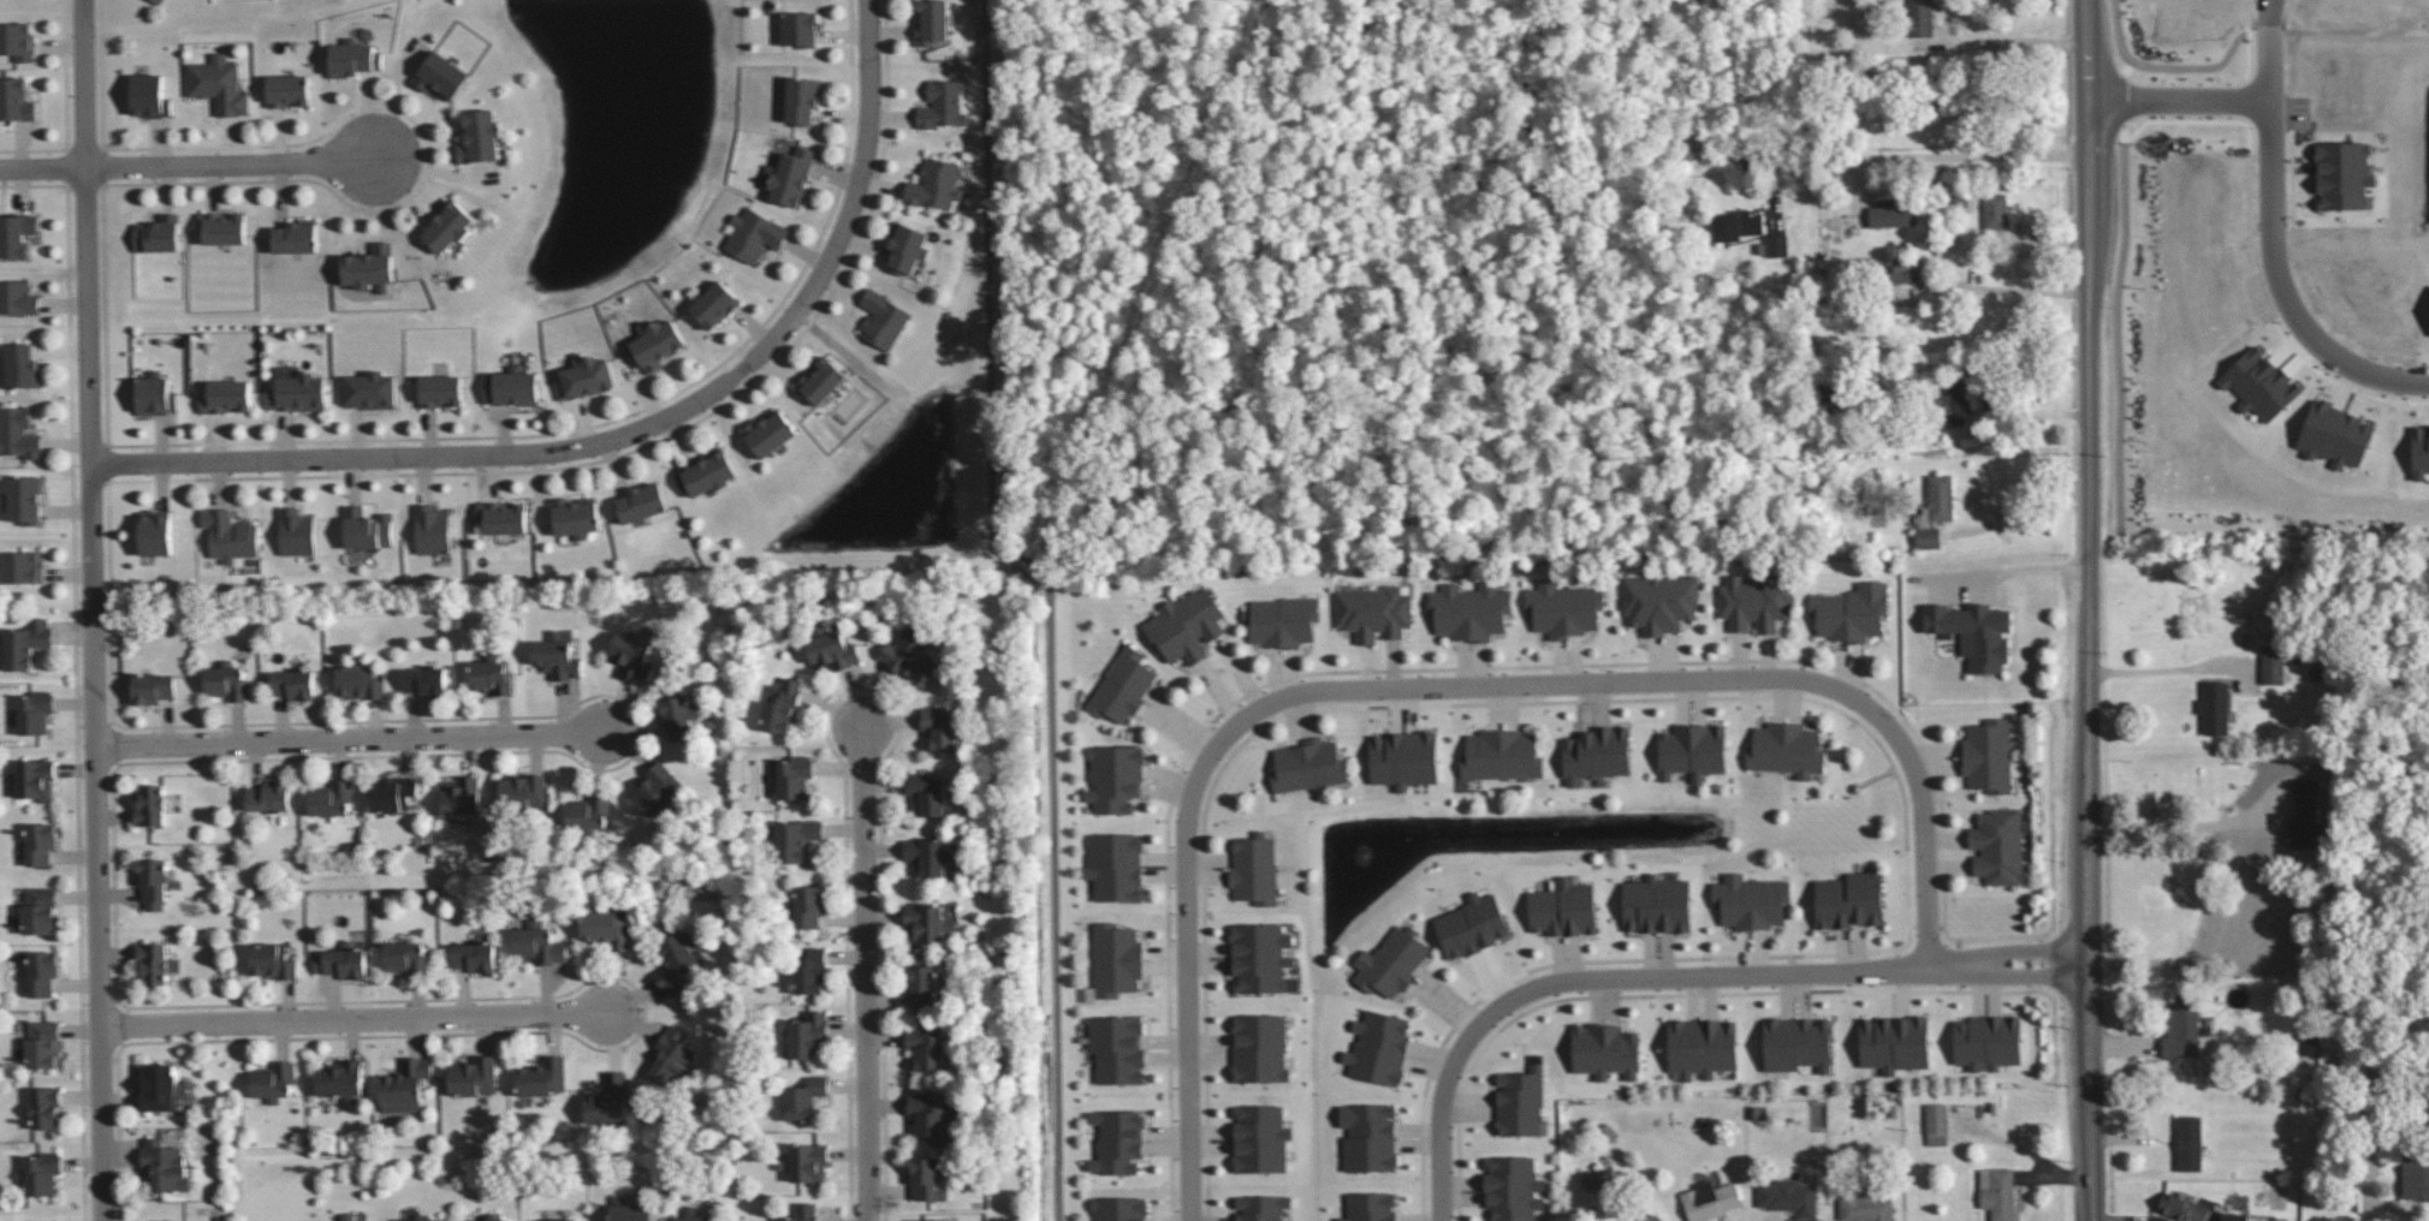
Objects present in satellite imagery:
building: (159, 1)
building: (1922, 18)
building: (932, 22)
building: (800, 29)
road: (2240, 34)
building: (17, 40)
road: (2018, 40)
road: (2083, 50)
road: (2269, 50)
building: (352, 58)
building: (440, 75)
building: (219, 84)
building: (287, 90)
building: (148, 95)
building: (16, 99)
building: (802, 100)
road: (2176, 102)
building: (942, 105)
road: (2084, 127)
building: (480, 136)
road: (1936, 154)
road: (204, 167)
road: (1076, 168)
building: (2344, 174)
building: (790, 175)
road: (2085, 180)
building: (938, 184)
road: (1170, 189)
building: (1995, 210)
building: (1893, 213)
building: (1736, 225)
building: (447, 226)
building: (222, 227)
road: (1362, 232)
building: (16, 233)
building: (158, 234)
building: (754, 234)
building: (295, 237)
building: (1776, 244)
building: (908, 248)
building: (370, 267)
building: (1905, 269)
park: (1397, 278)
road: (2282, 286)
road: (2024, 288)
road: (2116, 292)
building: (17, 297)
building: (715, 304)
building: (883, 318)
building: (657, 343)
building: (22, 365)
building: (584, 376)
building: (821, 380)
building: (511, 386)
building: (370, 389)
building: (440, 391)
building: (299, 392)
building: (155, 393)
building: (226, 395)
building: (1953, 400)
building: (768, 431)
building: (18, 433)
building: (2335, 435)
road: (630, 436)
road: (2090, 441)
building: (2419, 452)
building: (707, 472)
road: (1117, 486)
building: (24, 499)
building: (641, 502)
building: (1935, 511)
building: (576, 516)
building: (503, 517)
building: (366, 528)
building: (432, 529)
building: (296, 531)
building: (155, 532)
building: (230, 535)
building: (20, 566)
road: (2015, 568)
road: (1051, 596)
building: (1659, 601)
building: (1756, 601)
building: (1563, 608)
road: (94, 609)
building: (1469, 610)
building: (1373, 612)
building: (1851, 612)
building: (1281, 620)
building: (1187, 625)
building: (1974, 632)
building: (25, 643)
building: (832, 650)
building: (557, 655)
building: (631, 655)
building: (910, 657)
building: (2273, 663)
road: (2156, 672)
building: (491, 674)
building: (226, 680)
building: (424, 680)
building: (358, 681)
building: (293, 684)
building: (1123, 685)
building: (153, 687)
road: (1437, 687)
building: (780, 705)
building: (2215, 708)
building: (35, 711)
building: (677, 716)
building: (940, 727)
road: (349, 740)
building: (1786, 749)
building: (1692, 751)
road: (2087, 751)
building: (1596, 754)
building: (1501, 755)
building: (1988, 756)
building: (1403, 758)
building: (1308, 766)
building: (792, 776)
building: (34, 778)
building: (1115, 779)
building: (657, 788)
building: (523, 792)
building: (393, 793)
building: (928, 793)
building: (269, 796)
building: (332, 797)
building: (459, 798)
building: (150, 804)
building: (588, 811)
building: (2304, 814)
road: (2170, 828)
building: (796, 839)
building: (40, 842)
building: (1997, 846)
building: (928, 856)
building: (1116, 866)
building: (1254, 869)
building: (152, 881)
building: (1849, 900)
building: (1751, 901)
building: (809, 905)
building: (1657, 905)
building: (1563, 909)
building: (38, 910)
building: (924, 924)
building: (1472, 925)
building: (606, 927)
building: (539, 943)
building: (474, 955)
building: (406, 957)
building: (1260, 958)
building: (1116, 959)
building: (272, 960)
building: (343, 960)
building: (156, 961)
building: (1391, 961)
building: (677, 963)
building: (810, 971)
building: (42, 972)
road: (867, 975)
road: (1673, 976)
building: (921, 985)
road: (354, 1020)
road: (2085, 1024)
building: (2181, 1028)
building: (808, 1034)
building: (1988, 1042)
building: (42, 1043)
building: (1796, 1043)
building: (1894, 1043)
building: (1379, 1047)
building: (1702, 1047)
building: (926, 1048)
building: (1117, 1048)
building: (1260, 1048)
building: (1605, 1050)
building: (672, 1055)
building: (474, 1076)
building: (541, 1077)
building: (340, 1079)
building: (274, 1080)
building: (404, 1085)
building: (158, 1086)
building: (804, 1098)
building: (608, 1100)
building: (1520, 1101)
building: (44, 1106)
building: (927, 1113)
building: (1936, 1124)
building: (1368, 1137)
building: (1260, 1138)
building: (1118, 1142)
building: (2189, 1143)
building: (809, 1163)
building: (165, 1166)
building: (41, 1173)
building: (924, 1177)
building: (2415, 1179)
building: (1591, 1180)
building: (1513, 1187)
building: (1997, 1192)
building: (1789, 1196)
building: (1710, 1199)
building: (1865, 1205)
building: (1260, 1207)
building: (1371, 1207)
building: (2182, 1208)
building: (1120, 1209)
building: (629, 1210)
building: (803, 1211)
building: (693, 1215)
building: (348, 1216)
building: (2234, 1216)
building: (422, 1217)
building: (492, 1217)
building: (1653, 1217)
building: (560, 1219)
building: (926, 1220)

